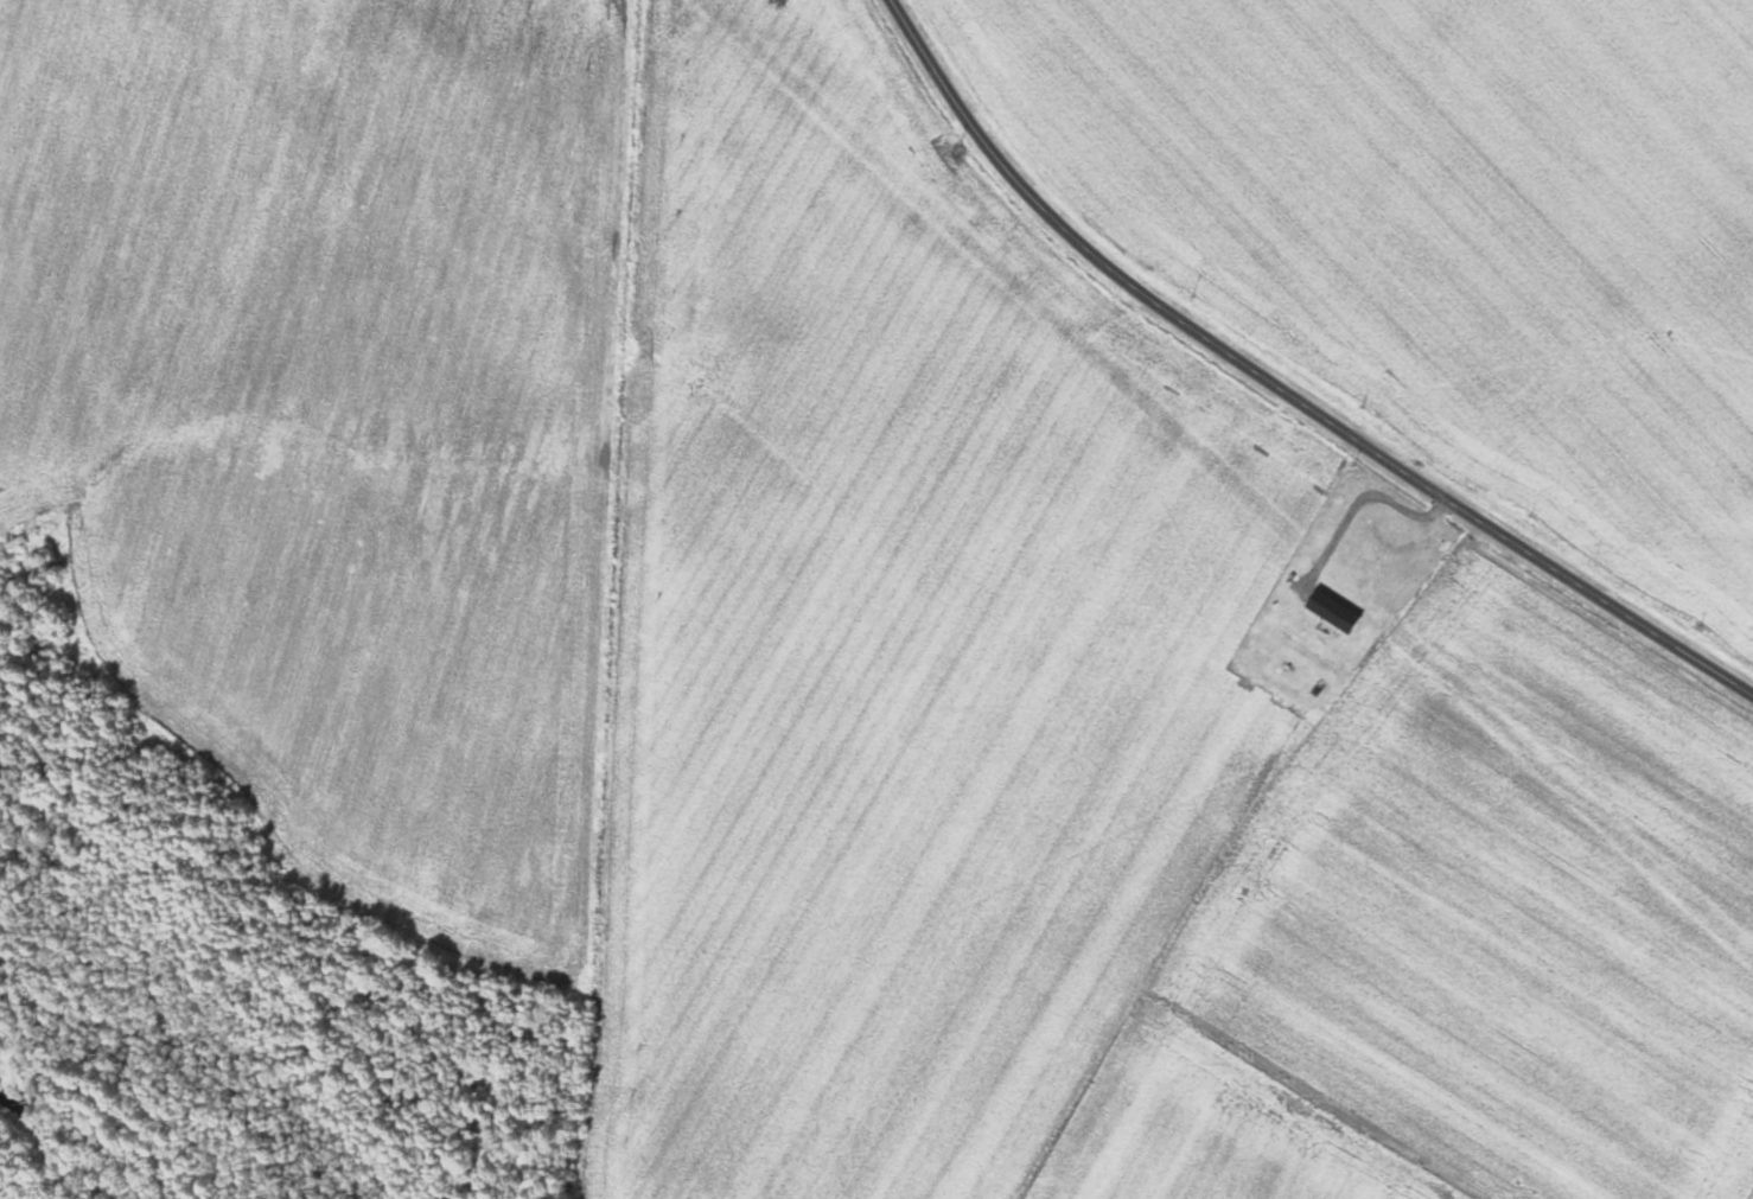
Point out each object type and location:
road: (1282, 389)

